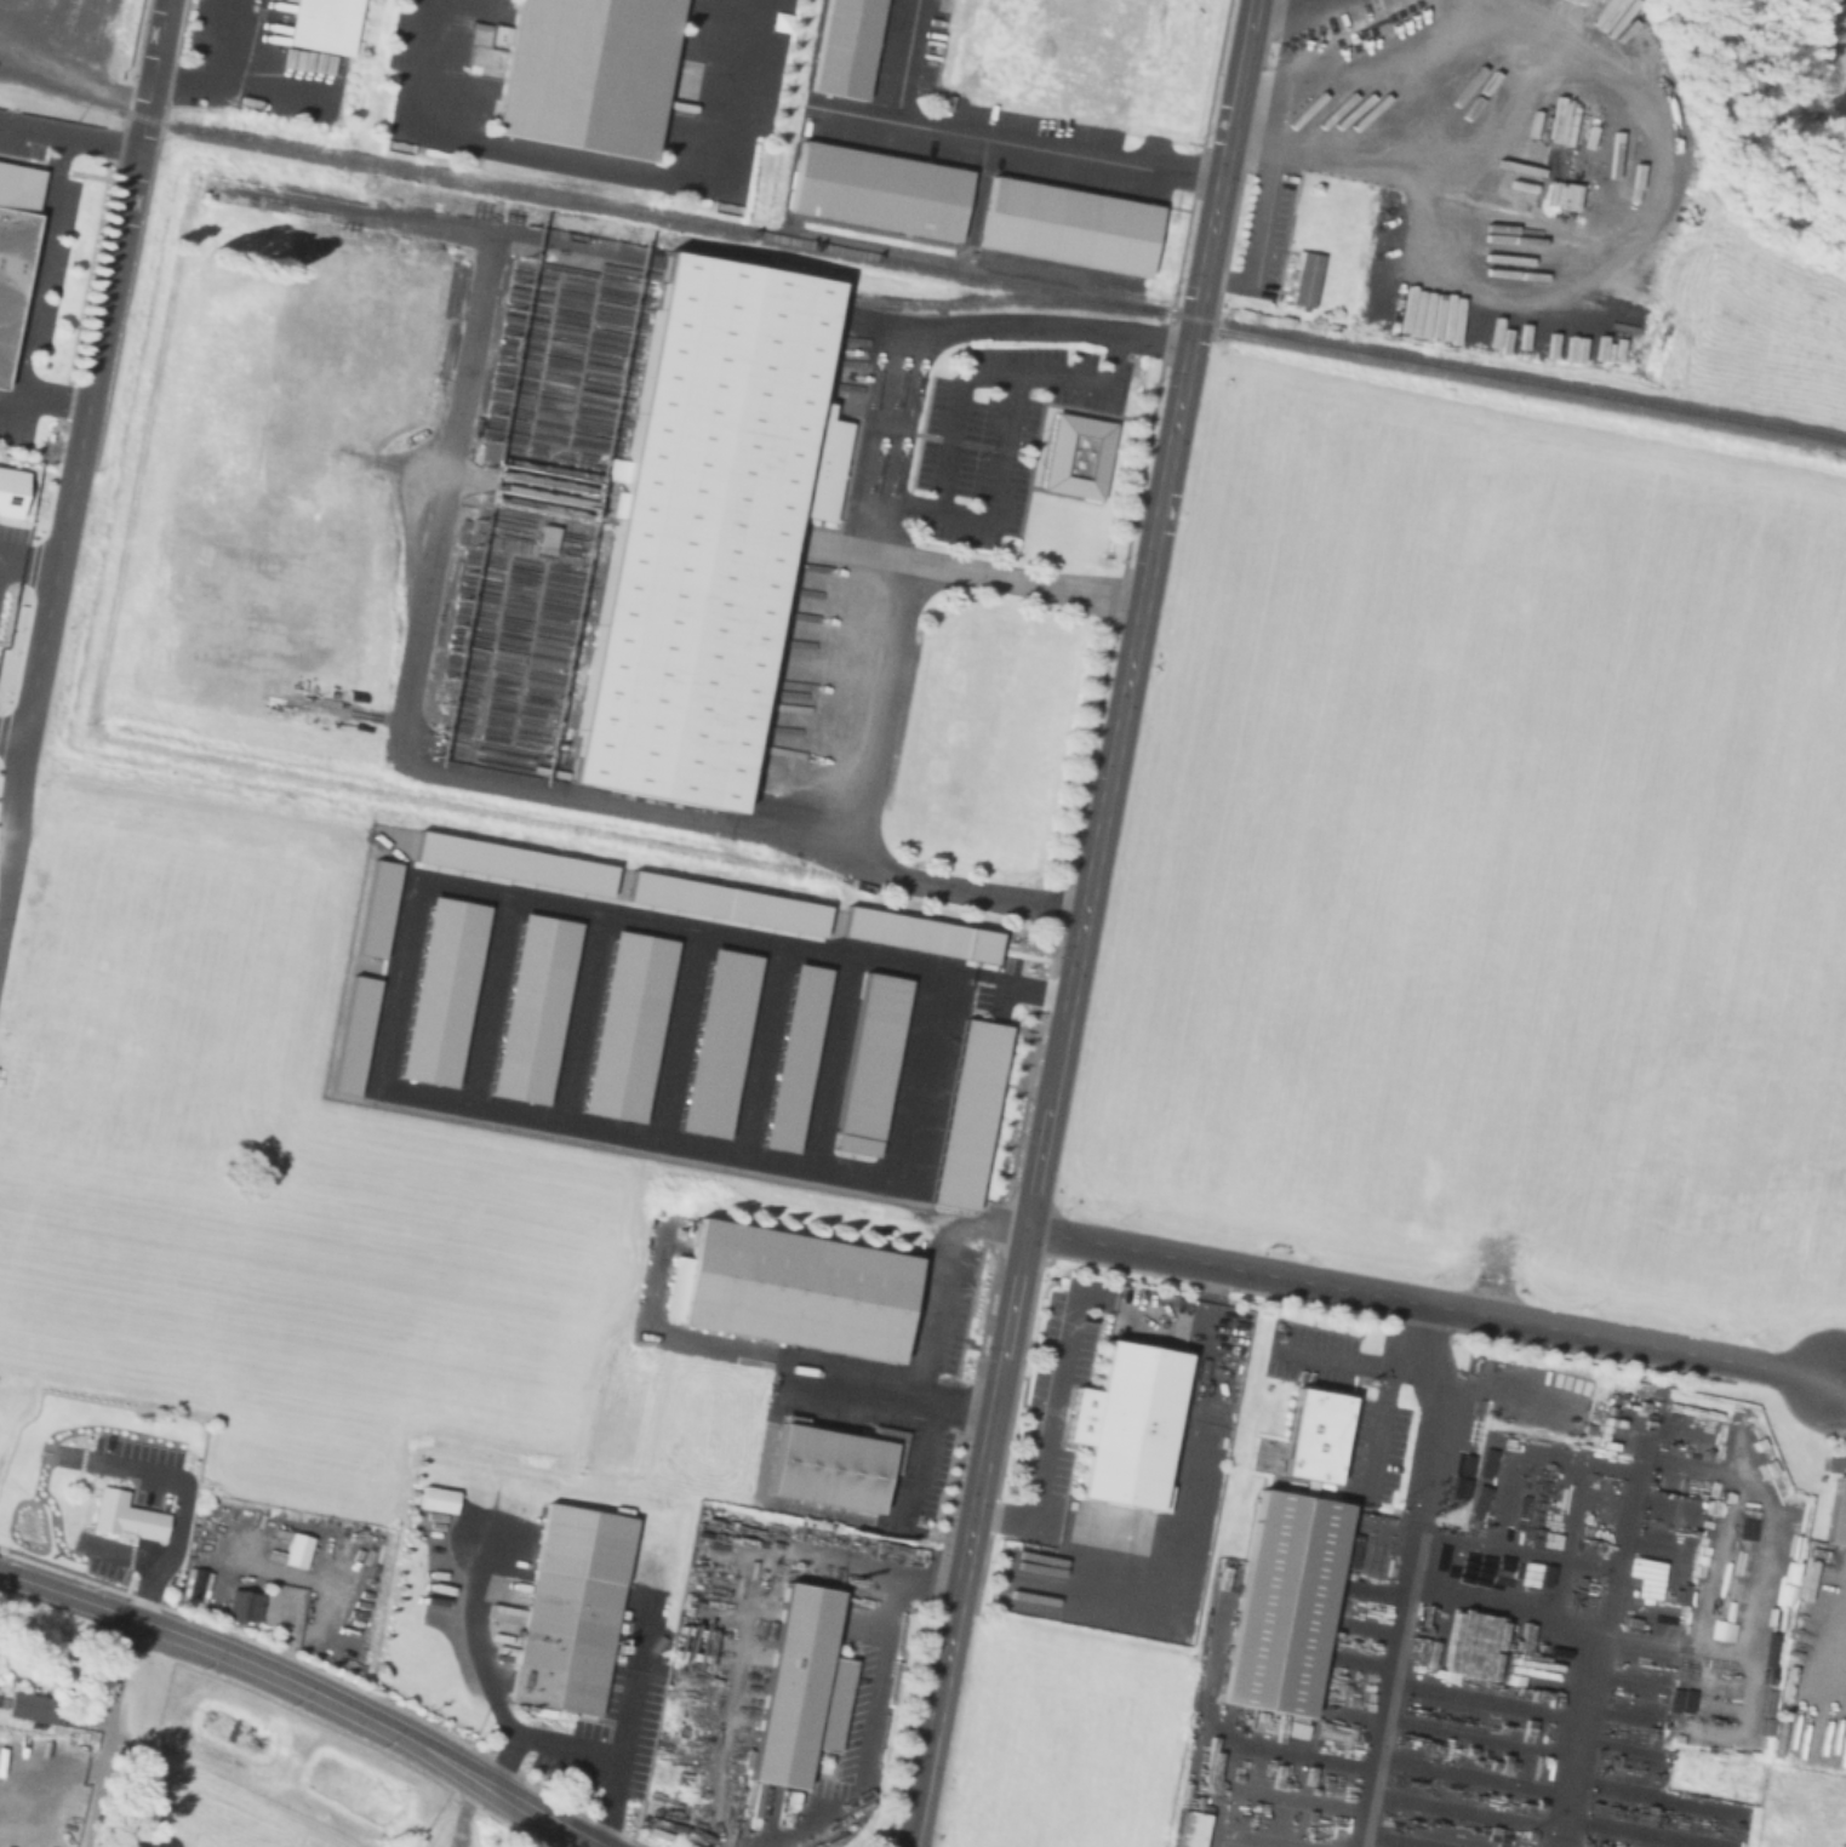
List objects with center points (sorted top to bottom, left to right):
road: (1268, 4)
building: (320, 25)
building: (841, 47)
railway: (6, 59)
road: (904, 61)
road: (208, 67)
building: (582, 72)
railway: (40, 75)
road: (264, 84)
road: (1498, 121)
road: (68, 135)
road: (1012, 143)
road: (1222, 160)
road: (596, 164)
building: (874, 190)
road: (355, 210)
railway: (447, 217)
road: (1651, 219)
building: (1064, 225)
building: (12, 236)
road: (1256, 240)
railway: (919, 268)
railway: (743, 275)
building: (1303, 276)
road: (34, 279)
railway: (990, 302)
road: (50, 396)
road: (1006, 434)
building: (1073, 454)
road: (73, 474)
building: (11, 493)
building: (699, 528)
building: (542, 537)
road: (28, 567)
road: (1004, 581)
road: (13, 743)
road: (1109, 773)
road: (743, 834)
crop: (1486, 859)
building: (528, 869)
road: (944, 896)
building: (739, 909)
building: (393, 914)
building: (927, 932)
building: (456, 999)
road: (504, 999)
building: (549, 1014)
road: (595, 1016)
road: (406, 1020)
building: (639, 1031)
road: (688, 1033)
building: (368, 1039)
building: (725, 1041)
road: (768, 1047)
building: (802, 1056)
road: (839, 1059)
building: (878, 1060)
building: (977, 1111)
road: (985, 1216)
building: (793, 1288)
road: (1430, 1303)
road: (1342, 1356)
road: (919, 1377)
road: (1841, 1385)
road: (852, 1390)
building: (1570, 1405)
road: (5, 1407)
road: (956, 1407)
road: (989, 1419)
building: (1122, 1423)
road: (1370, 1424)
building: (1309, 1433)
road: (1048, 1445)
building: (831, 1462)
road: (162, 1477)
building: (1, 1496)
road: (1179, 1505)
building: (1836, 1513)
building: (126, 1520)
road: (1046, 1526)
building: (295, 1549)
road: (119, 1555)
building: (1279, 1600)
building: (241, 1603)
building: (566, 1608)
road: (247, 1663)
road: (484, 1672)
building: (796, 1687)
road: (1383, 1698)
road: (874, 1702)
building: (29, 1706)
road: (627, 1726)
road: (108, 1731)
road: (932, 1731)
road: (566, 1748)
road: (463, 1811)
road: (541, 1814)

